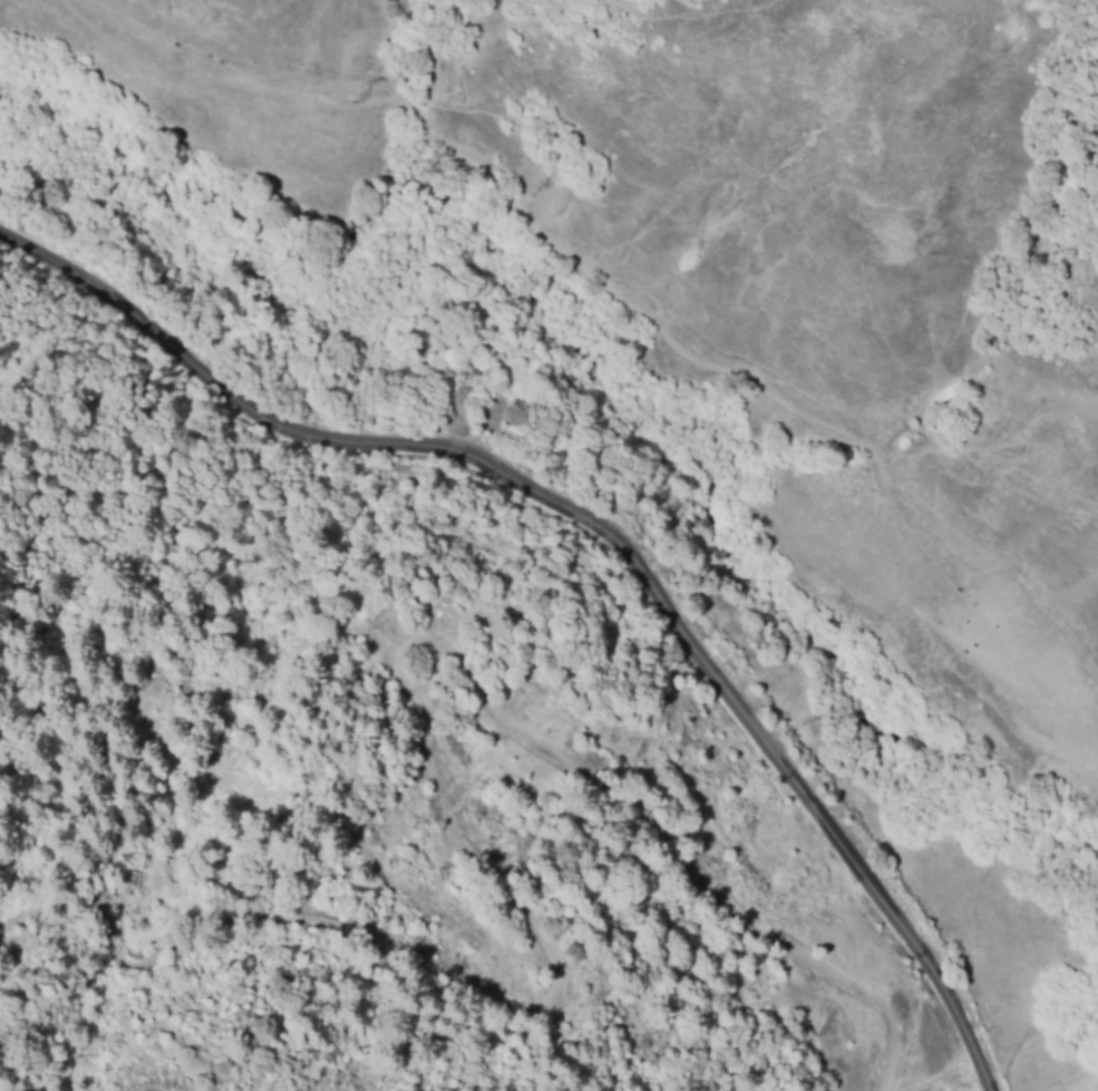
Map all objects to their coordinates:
road: (601, 524)

